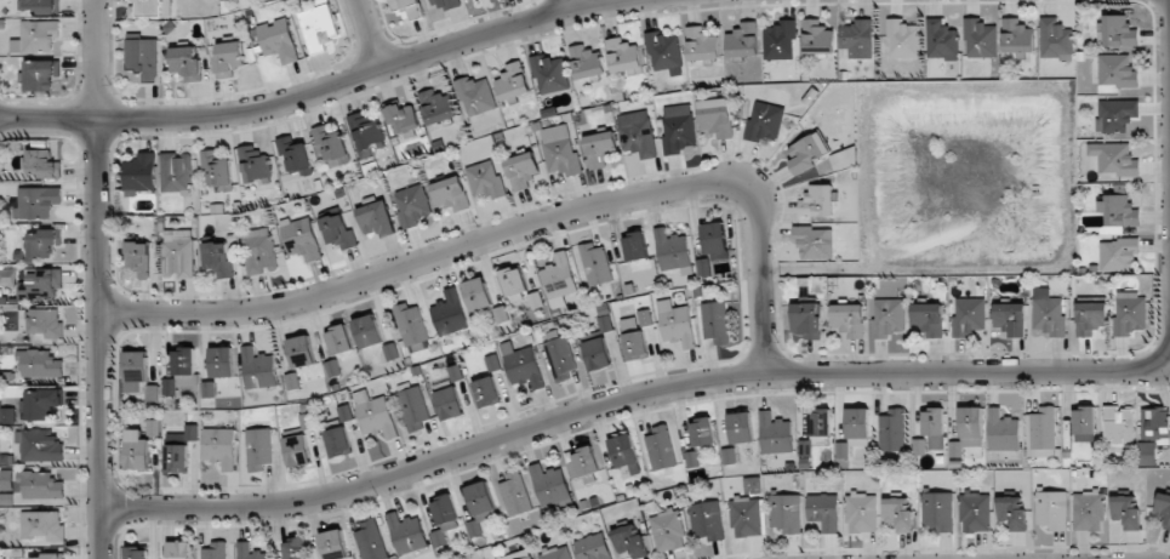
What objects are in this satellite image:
building: (443, 4)
road: (570, 4)
building: (40, 5)
building: (150, 7)
building: (405, 7)
building: (319, 25)
building: (1119, 32)
road: (369, 33)
building: (1016, 36)
building: (38, 38)
building: (817, 38)
building: (980, 38)
building: (857, 39)
building: (902, 39)
building: (1055, 39)
building: (278, 40)
building: (780, 40)
building: (941, 40)
building: (742, 41)
building: (702, 44)
building: (663, 51)
building: (622, 55)
building: (143, 57)
building: (229, 58)
building: (188, 62)
building: (586, 62)
building: (1117, 70)
building: (41, 74)
building: (550, 74)
road: (1169, 74)
building: (513, 84)
road: (307, 90)
building: (475, 95)
building: (438, 105)
building: (1117, 115)
building: (717, 118)
building: (404, 119)
building: (764, 121)
building: (678, 127)
building: (366, 130)
building: (638, 133)
building: (331, 148)
building: (560, 149)
building: (805, 153)
building: (295, 156)
building: (1114, 158)
building: (844, 159)
building: (42, 164)
building: (253, 164)
building: (217, 167)
building: (521, 170)
building: (176, 172)
building: (485, 179)
building: (451, 194)
building: (36, 201)
building: (817, 201)
building: (412, 205)
road: (514, 213)
building: (1117, 213)
building: (376, 218)
building: (338, 232)
building: (714, 238)
building: (301, 239)
building: (814, 241)
building: (41, 244)
building: (635, 246)
building: (258, 250)
building: (672, 250)
building: (178, 253)
building: (1118, 253)
building: (138, 257)
building: (218, 259)
building: (595, 264)
building: (559, 276)
road: (99, 279)
building: (513, 281)
building: (40, 284)
building: (476, 295)
building: (449, 314)
building: (1130, 314)
building: (968, 315)
building: (1049, 315)
building: (889, 316)
building: (1090, 318)
building: (849, 319)
building: (928, 319)
building: (1011, 319)
building: (806, 320)
building: (715, 321)
building: (45, 323)
building: (675, 323)
building: (411, 324)
building: (367, 331)
building: (635, 336)
building: (338, 340)
building: (301, 352)
building: (597, 354)
building: (560, 358)
building: (222, 361)
building: (40, 364)
building: (523, 365)
building: (258, 369)
building: (135, 370)
building: (182, 370)
building: (486, 392)
road: (638, 392)
building: (44, 403)
building: (450, 403)
building: (413, 407)
building: (375, 415)
building: (857, 422)
building: (1084, 423)
building: (1154, 423)
building: (1119, 426)
building: (153, 427)
building: (934, 427)
building: (740, 428)
building: (816, 430)
building: (891, 430)
building: (968, 430)
building: (1003, 430)
building: (702, 432)
building: (1041, 432)
building: (190, 433)
building: (775, 434)
building: (857, 441)
building: (336, 443)
building: (40, 444)
building: (219, 446)
building: (660, 447)
building: (258, 449)
building: (137, 450)
building: (297, 450)
building: (624, 452)
building: (1147, 454)
building: (177, 458)
building: (584, 462)
building: (42, 485)
building: (514, 494)
building: (481, 501)
building: (1163, 508)
building: (937, 509)
building: (1051, 509)
building: (445, 510)
building: (975, 510)
building: (1088, 510)
building: (1125, 510)
building: (823, 512)
building: (786, 513)
building: (861, 513)
building: (898, 513)
building: (1011, 513)
building: (746, 517)
building: (707, 520)
building: (41, 525)
building: (667, 530)
building: (406, 534)
building: (370, 541)
building: (629, 541)
building: (333, 544)
building: (593, 547)
building: (295, 548)
building: (179, 551)
building: (213, 551)
building: (137, 552)
building: (250, 552)
building: (558, 553)
building: (519, 555)
building: (46, 557)

